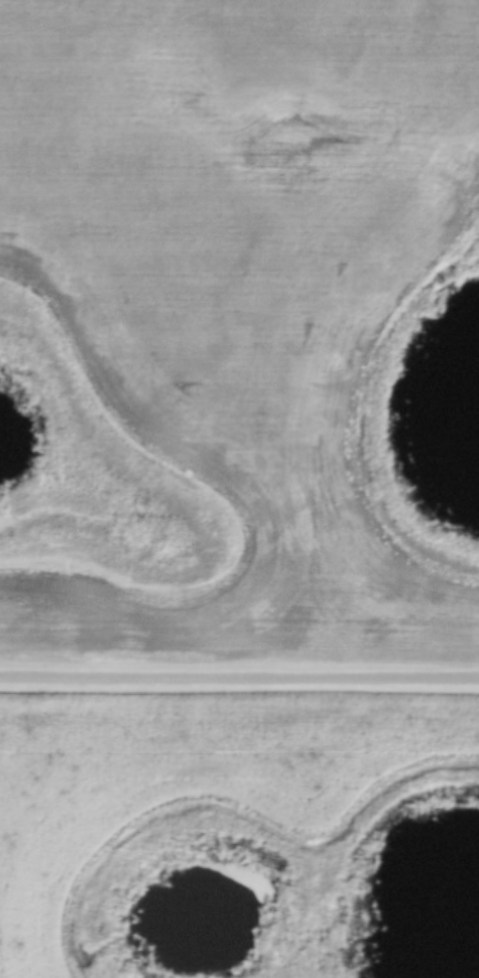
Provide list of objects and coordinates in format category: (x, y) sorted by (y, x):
road: (239, 672)

